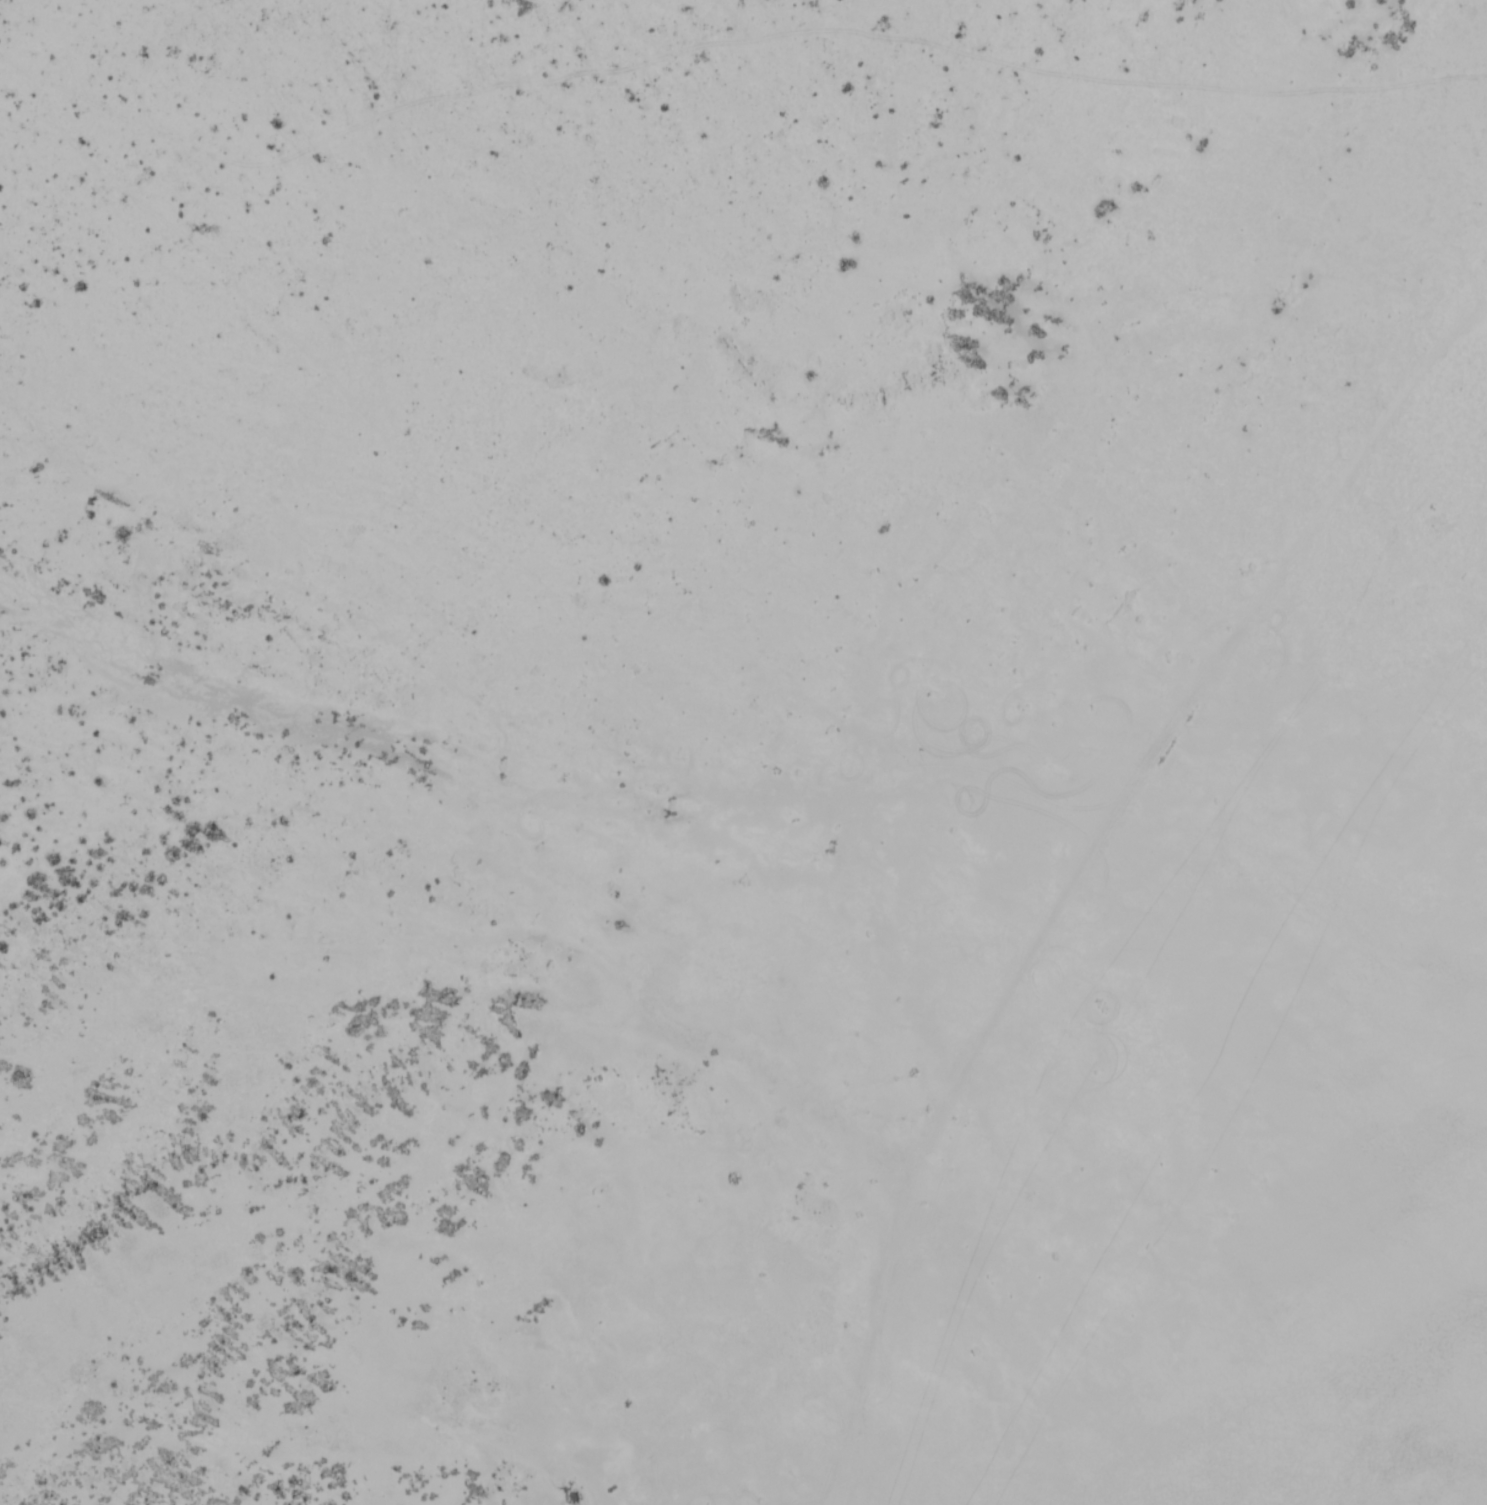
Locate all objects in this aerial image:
road: (1077, 861)

